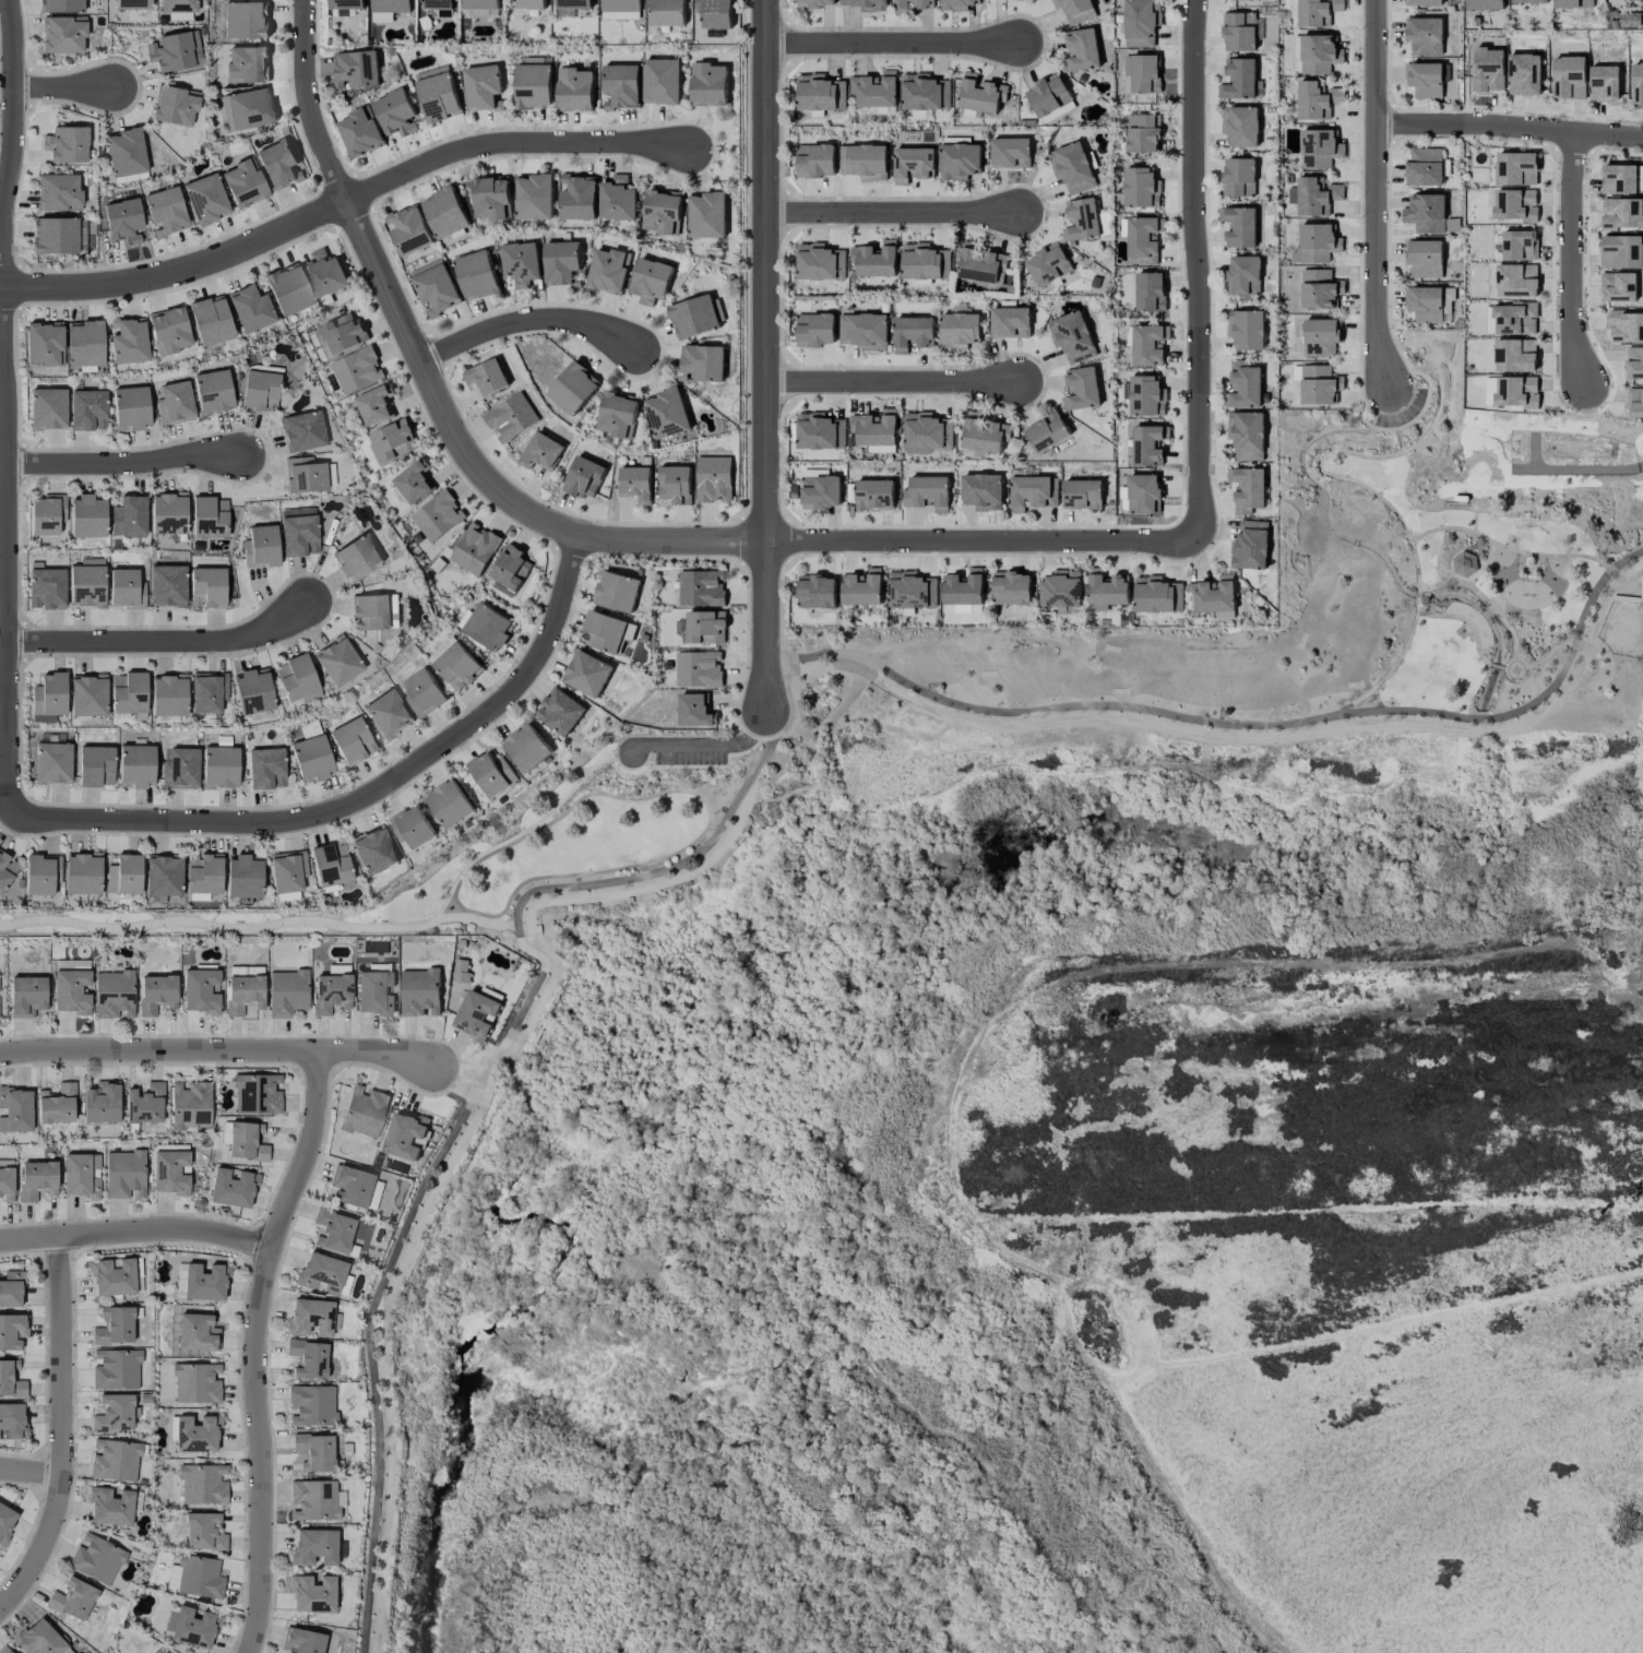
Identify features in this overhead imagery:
building: (1233, 0)
building: (1528, 1)
building: (1640, 1)
building: (1422, 2)
building: (815, 3)
building: (1573, 3)
building: (132, 4)
building: (347, 4)
building: (439, 4)
building: (481, 4)
building: (531, 4)
building: (573, 4)
building: (867, 4)
building: (913, 4)
building: (957, 4)
building: (1484, 4)
building: (60, 5)
building: (177, 5)
building: (391, 5)
building: (620, 9)
building: (1075, 10)
building: (483, 12)
building: (667, 12)
building: (1318, 12)
building: (715, 13)
building: (382, 17)
building: (246, 20)
building: (1141, 22)
building: (1241, 32)
building: (63, 34)
building: (1424, 36)
road: (890, 44)
building: (1082, 50)
building: (175, 51)
building: (1319, 55)
building: (246, 64)
building: (356, 69)
building: (1488, 70)
building: (1142, 73)
building: (1524, 74)
building: (1569, 78)
building: (1239, 80)
building: (1424, 80)
building: (662, 81)
building: (1604, 83)
building: (1636, 83)
building: (707, 84)
road: (60, 86)
building: (534, 86)
building: (621, 86)
building: (483, 87)
building: (574, 90)
building: (876, 90)
building: (820, 93)
building: (925, 93)
building: (438, 94)
building: (980, 94)
building: (1048, 95)
building: (1317, 100)
building: (174, 105)
building: (247, 109)
building: (396, 114)
building: (1240, 126)
road: (1508, 128)
building: (360, 133)
building: (1143, 133)
building: (66, 144)
building: (1319, 148)
building: (124, 152)
building: (1010, 153)
building: (815, 160)
building: (959, 160)
building: (864, 162)
building: (279, 165)
building: (912, 165)
building: (1072, 168)
building: (1425, 168)
building: (1515, 169)
building: (1239, 177)
building: (1622, 179)
building: (243, 183)
building: (1141, 188)
building: (58, 192)
road: (1373, 195)
building: (534, 197)
building: (1313, 197)
building: (491, 198)
building: (578, 198)
building: (205, 199)
building: (618, 199)
road: (343, 201)
building: (1515, 205)
building: (165, 212)
building: (662, 212)
road: (893, 212)
building: (445, 213)
building: (706, 214)
building: (1426, 214)
building: (1621, 214)
building: (1081, 219)
building: (123, 221)
building: (1239, 226)
building: (409, 230)
building: (55, 235)
building: (1143, 239)
building: (1318, 243)
building: (1520, 245)
building: (1621, 252)
road: (1569, 257)
building: (1425, 259)
building: (874, 260)
building: (561, 262)
building: (820, 262)
building: (521, 263)
building: (925, 263)
building: (980, 264)
building: (1048, 264)
road: (1201, 271)
building: (607, 272)
building: (325, 274)
building: (476, 275)
building: (1243, 275)
building: (650, 281)
building: (1516, 281)
building: (434, 287)
building: (1618, 287)
building: (287, 289)
building: (1319, 289)
building: (1150, 292)
building: (1430, 305)
building: (250, 308)
building: (695, 316)
road: (528, 317)
building: (211, 320)
building: (1514, 320)
building: (1010, 322)
building: (1626, 328)
building: (815, 330)
building: (1246, 330)
building: (168, 331)
building: (864, 331)
building: (959, 331)
building: (913, 333)
building: (343, 334)
building: (1073, 337)
building: (1321, 337)
building: (128, 341)
building: (44, 343)
building: (84, 343)
building: (1148, 345)
road: (764, 353)
building: (1514, 356)
road: (1403, 360)
building: (702, 362)
building: (1634, 364)
road: (1417, 369)
building: (357, 370)
building: (486, 377)
road: (431, 380)
road: (890, 380)
road: (1398, 381)
building: (1319, 384)
building: (1243, 385)
building: (573, 389)
building: (1081, 389)
building: (212, 391)
building: (259, 391)
building: (1516, 392)
building: (1146, 396)
road: (1376, 397)
building: (175, 403)
building: (1635, 403)
building: (374, 405)
road: (3, 407)
building: (130, 407)
building: (47, 408)
building: (87, 409)
parking lot: (1401, 411)
building: (667, 413)
building: (617, 415)
building: (510, 417)
parking lot: (1404, 417)
road: (1410, 423)
building: (874, 428)
building: (302, 431)
building: (820, 432)
building: (1047, 432)
building: (927, 433)
building: (984, 435)
building: (1246, 436)
building: (393, 440)
building: (1147, 445)
building: (881, 449)
building: (540, 452)
road: (122, 457)
road: (1641, 466)
building: (303, 475)
building: (584, 478)
building: (713, 479)
building: (413, 481)
road: (1358, 483)
building: (635, 484)
building: (675, 485)
building: (1247, 489)
building: (983, 491)
building: (821, 492)
building: (927, 492)
building: (1033, 492)
building: (1143, 493)
building: (873, 495)
building: (1082, 495)
building: (168, 513)
building: (46, 514)
building: (437, 515)
building: (87, 516)
building: (129, 516)
building: (209, 516)
building: (299, 534)
road: (983, 539)
building: (1250, 546)
building: (261, 547)
road: (1509, 548)
building: (474, 549)
building: (357, 557)
building: (91, 561)
building: (1464, 564)
building: (510, 568)
building: (86, 585)
building: (167, 585)
building: (207, 587)
building: (963, 587)
building: (46, 588)
building: (126, 588)
building: (700, 588)
building: (862, 588)
building: (1011, 588)
building: (1060, 588)
building: (910, 591)
building: (1106, 591)
building: (616, 592)
building: (817, 592)
building: (1156, 595)
building: (1214, 597)
road: (1486, 603)
building: (961, 609)
road: (1465, 620)
building: (487, 626)
building: (705, 628)
building: (607, 632)
road: (159, 638)
road: (1541, 659)
building: (337, 661)
building: (454, 664)
road: (1496, 666)
building: (699, 669)
building: (586, 674)
building: (297, 679)
building: (207, 691)
building: (253, 691)
building: (128, 692)
building: (422, 692)
building: (168, 694)
building: (87, 695)
building: (48, 698)
road: (777, 709)
building: (694, 710)
building: (560, 711)
building: (388, 714)
road: (1253, 726)
road: (787, 727)
building: (311, 729)
building: (352, 740)
road: (707, 745)
building: (526, 747)
parking lot: (688, 753)
park: (1146, 754)
building: (311, 758)
building: (52, 763)
building: (135, 765)
building: (95, 766)
road: (690, 766)
building: (219, 768)
building: (180, 769)
building: (266, 769)
building: (492, 774)
road: (359, 796)
building: (449, 804)
building: (412, 826)
road: (529, 829)
road: (689, 843)
building: (373, 851)
building: (331, 865)
building: (7, 870)
building: (288, 871)
building: (41, 873)
building: (83, 873)
building: (204, 873)
building: (124, 875)
building: (163, 876)
building: (243, 877)
road: (575, 887)
road: (265, 926)
building: (71, 991)
building: (200, 991)
building: (287, 992)
building: (331, 992)
building: (374, 992)
building: (419, 992)
building: (156, 994)
building: (243, 994)
building: (114, 995)
building: (26, 996)
building: (476, 1015)
road: (216, 1050)
road: (496, 1069)
road: (462, 1071)
building: (257, 1094)
building: (102, 1103)
building: (57, 1104)
building: (144, 1104)
building: (190, 1105)
building: (15, 1109)
building: (364, 1111)
building: (405, 1135)
building: (246, 1141)
building: (170, 1172)
building: (124, 1174)
building: (81, 1175)
building: (37, 1179)
building: (7, 1184)
building: (352, 1186)
building: (233, 1188)
road: (136, 1229)
building: (333, 1230)
building: (321, 1273)
building: (112, 1277)
building: (201, 1282)
building: (10, 1293)
building: (312, 1317)
building: (114, 1325)
building: (12, 1331)
building: (197, 1332)
road: (257, 1347)
building: (307, 1358)
road: (370, 1360)
building: (115, 1369)
building: (10, 1379)
building: (197, 1383)
building: (311, 1405)
building: (13, 1419)
road: (62, 1429)
building: (194, 1434)
building: (314, 1451)
building: (115, 1460)
road: (32, 1470)
building: (203, 1484)
building: (314, 1500)
building: (110, 1507)
building: (5, 1522)
building: (203, 1532)
building: (314, 1547)
building: (96, 1558)
building: (199, 1577)
building: (312, 1594)
building: (72, 1600)
building: (193, 1627)
building: (302, 1641)
building: (5, 1651)
building: (160, 1651)

